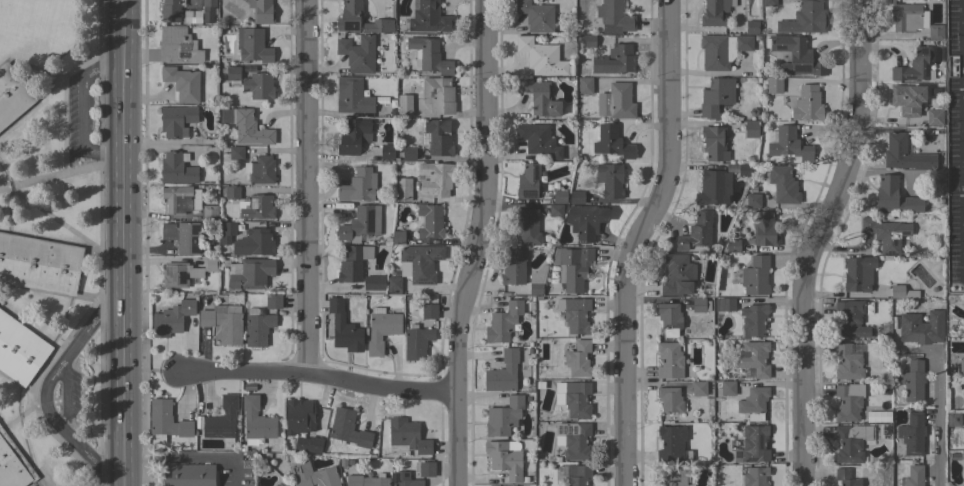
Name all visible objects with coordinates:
building: (769, 3)
building: (171, 10)
building: (208, 10)
building: (261, 11)
building: (715, 12)
building: (349, 16)
building: (536, 16)
building: (191, 17)
building: (614, 17)
building: (906, 17)
building: (429, 18)
building: (805, 19)
building: (378, 26)
building: (752, 27)
building: (935, 31)
building: (588, 41)
building: (178, 45)
building: (253, 45)
building: (722, 50)
building: (357, 53)
building: (429, 55)
building: (796, 55)
building: (541, 57)
building: (614, 60)
building: (915, 66)
building: (233, 75)
building: (182, 83)
building: (585, 85)
building: (774, 85)
building: (258, 86)
building: (12, 95)
building: (438, 95)
building: (352, 96)
building: (716, 96)
building: (538, 97)
building: (907, 99)
building: (616, 101)
building: (807, 103)
building: (404, 106)
road: (82, 110)
building: (934, 116)
building: (176, 120)
building: (246, 126)
building: (751, 129)
building: (354, 136)
building: (438, 137)
building: (538, 140)
building: (611, 142)
building: (714, 143)
building: (789, 144)
building: (387, 151)
building: (235, 153)
building: (409, 153)
building: (905, 154)
building: (176, 168)
building: (744, 169)
building: (262, 170)
building: (436, 178)
building: (610, 180)
building: (528, 181)
building: (783, 184)
building: (358, 186)
road: (304, 187)
building: (713, 188)
building: (403, 190)
building: (232, 192)
building: (559, 197)
building: (576, 197)
building: (894, 197)
building: (180, 199)
building: (753, 201)
building: (257, 207)
building: (555, 210)
building: (209, 213)
building: (430, 221)
building: (584, 222)
building: (360, 224)
building: (527, 226)
building: (763, 228)
building: (227, 232)
building: (696, 232)
building: (885, 234)
building: (183, 236)
building: (398, 237)
road: (815, 239)
road: (637, 241)
road: (121, 242)
road: (470, 242)
building: (254, 243)
building: (732, 245)
building: (353, 263)
building: (419, 263)
building: (39, 264)
building: (210, 264)
building: (514, 267)
building: (574, 267)
building: (249, 273)
building: (858, 273)
building: (178, 275)
building: (677, 275)
building: (755, 276)
building: (537, 280)
building: (374, 283)
building: (393, 285)
building: (902, 292)
building: (272, 301)
building: (724, 304)
building: (698, 305)
building: (429, 311)
building: (575, 315)
building: (171, 319)
building: (669, 319)
building: (850, 319)
building: (753, 320)
building: (223, 322)
building: (503, 323)
building: (921, 327)
building: (257, 328)
building: (343, 328)
building: (381, 329)
building: (417, 343)
building: (20, 350)
building: (754, 358)
building: (577, 359)
building: (669, 360)
building: (847, 363)
building: (961, 367)
building: (503, 373)
road: (318, 376)
building: (913, 380)
road: (47, 386)
building: (726, 388)
building: (699, 389)
road: (65, 398)
building: (576, 399)
building: (669, 399)
building: (848, 402)
building: (753, 403)
building: (503, 416)
building: (299, 417)
building: (221, 419)
building: (953, 419)
building: (256, 421)
road: (939, 421)
building: (165, 422)
building: (347, 429)
building: (912, 434)
building: (407, 436)
building: (574, 439)
building: (851, 442)
building: (308, 444)
building: (672, 445)
building: (752, 445)
building: (242, 449)
building: (18, 455)
building: (956, 456)
road: (178, 457)
building: (505, 458)
building: (11, 469)
building: (426, 469)
road: (235, 471)
building: (189, 475)
building: (313, 475)
building: (577, 475)
building: (675, 476)
building: (753, 476)
building: (848, 476)
building: (914, 476)
building: (405, 479)
building: (365, 481)

